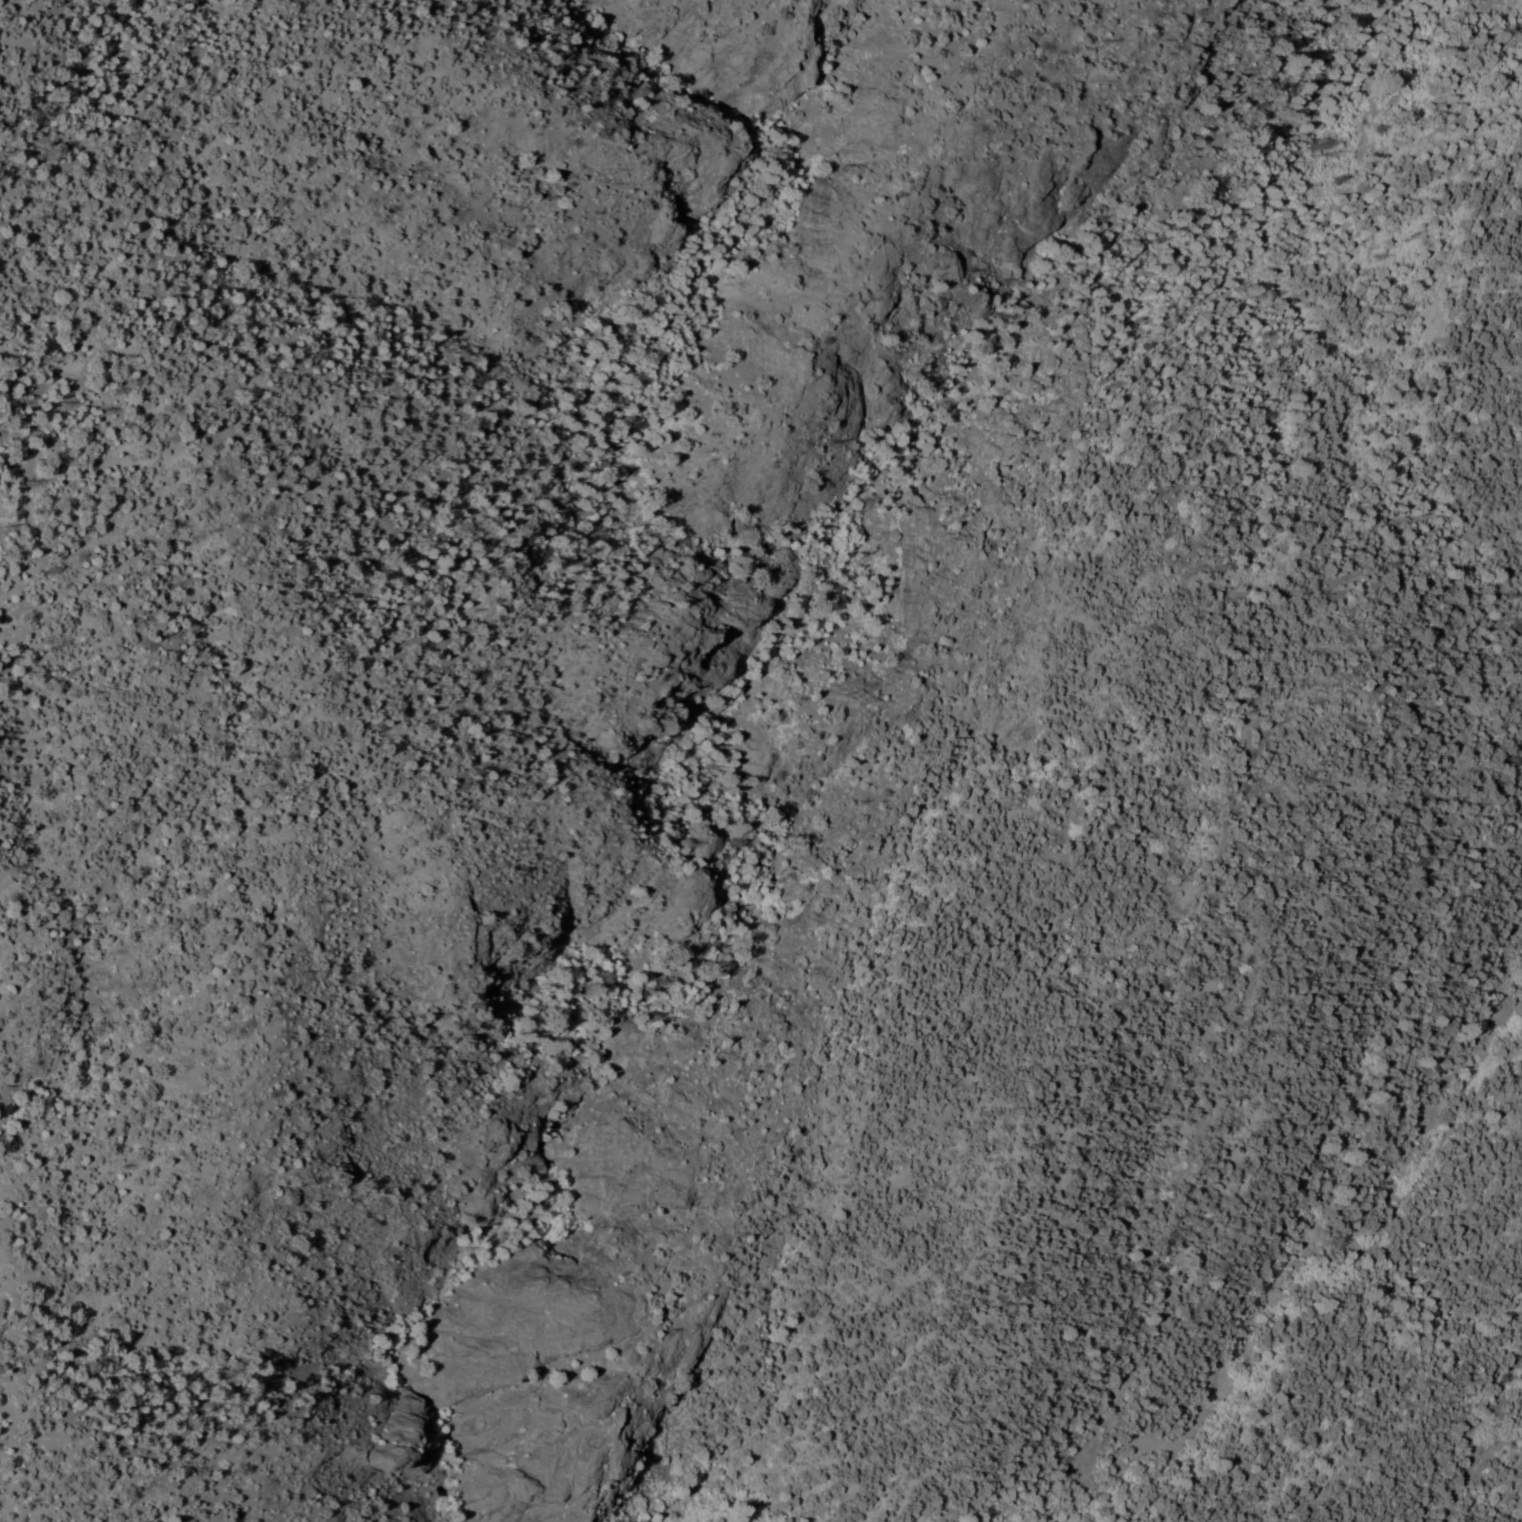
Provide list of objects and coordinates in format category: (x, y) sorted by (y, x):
road: (1329, 1256)
road: (1489, 1476)
road: (679, 1490)

